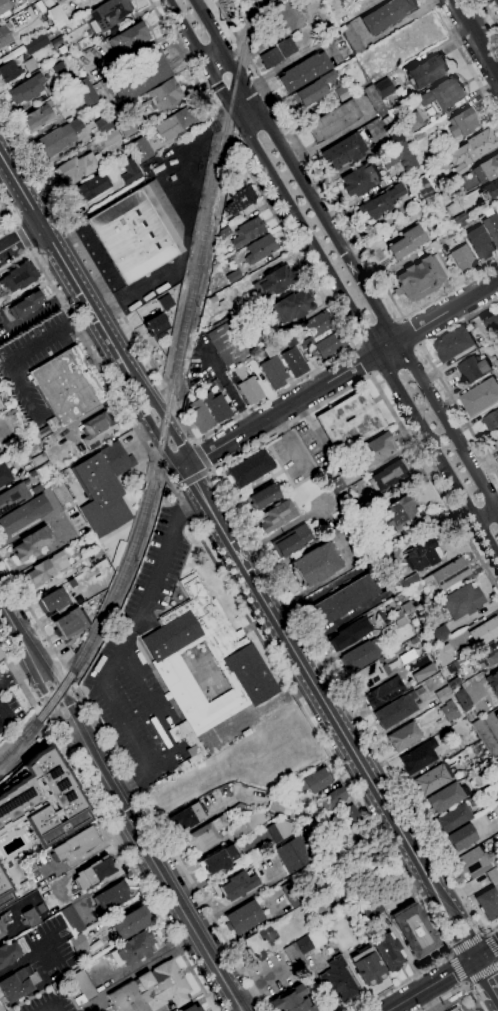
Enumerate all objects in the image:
building: (496, 2)
building: (3, 6)
building: (110, 13)
building: (387, 14)
road: (489, 14)
building: (57, 16)
road: (226, 19)
road: (476, 35)
building: (4, 36)
building: (351, 38)
building: (129, 39)
building: (37, 42)
building: (286, 47)
road: (244, 49)
road: (215, 56)
building: (271, 57)
road: (463, 58)
road: (184, 61)
building: (30, 65)
building: (304, 71)
building: (427, 71)
building: (8, 72)
building: (138, 77)
building: (384, 88)
building: (26, 89)
building: (313, 90)
building: (86, 92)
building: (342, 92)
building: (164, 93)
building: (442, 94)
building: (373, 99)
building: (37, 118)
road: (253, 121)
building: (333, 121)
building: (462, 122)
building: (104, 123)
building: (174, 123)
building: (409, 123)
building: (126, 127)
road: (226, 130)
building: (393, 134)
building: (419, 135)
building: (58, 138)
building: (109, 138)
building: (141, 149)
building: (471, 149)
building: (344, 150)
building: (399, 157)
building: (77, 168)
building: (486, 169)
building: (129, 171)
building: (360, 179)
building: (236, 182)
building: (89, 189)
road: (326, 189)
building: (425, 189)
building: (489, 190)
building: (239, 200)
building: (381, 201)
building: (459, 210)
road: (12, 219)
building: (461, 224)
road: (15, 227)
building: (492, 227)
building: (139, 231)
building: (248, 231)
road: (22, 237)
road: (20, 242)
building: (405, 242)
building: (480, 243)
building: (260, 249)
road: (30, 250)
road: (85, 254)
road: (346, 256)
building: (462, 257)
road: (68, 275)
building: (421, 275)
building: (19, 276)
building: (233, 276)
road: (332, 277)
building: (268, 284)
road: (450, 288)
building: (212, 299)
building: (165, 302)
building: (26, 304)
building: (290, 306)
road: (403, 318)
building: (155, 324)
building: (318, 324)
building: (492, 325)
building: (246, 331)
road: (410, 331)
building: (289, 338)
road: (84, 341)
road: (350, 341)
building: (496, 341)
building: (225, 343)
building: (306, 343)
road: (418, 344)
building: (453, 344)
building: (329, 345)
road: (354, 347)
flagpole: (84, 353)
building: (87, 360)
road: (361, 360)
building: (294, 362)
flagpole: (92, 368)
building: (239, 369)
building: (473, 369)
building: (273, 371)
road: (435, 372)
road: (342, 373)
road: (369, 374)
building: (216, 385)
building: (67, 387)
building: (250, 390)
road: (233, 394)
building: (480, 397)
railway: (171, 398)
building: (5, 399)
building: (217, 406)
building: (8, 415)
building: (200, 415)
building: (349, 421)
building: (491, 422)
road: (167, 426)
building: (97, 430)
building: (42, 432)
road: (157, 434)
road: (194, 441)
parking lot: (315, 442)
building: (496, 442)
building: (0, 448)
building: (375, 449)
road: (201, 456)
parking lot: (295, 458)
building: (38, 459)
building: (249, 468)
road: (210, 469)
building: (4, 475)
building: (389, 475)
road: (193, 477)
road: (434, 482)
building: (337, 485)
road: (175, 487)
building: (103, 488)
building: (61, 495)
building: (12, 496)
building: (263, 496)
road: (188, 504)
building: (396, 513)
road: (487, 515)
building: (23, 516)
building: (275, 516)
building: (291, 541)
building: (31, 544)
building: (422, 554)
building: (94, 556)
building: (316, 564)
building: (46, 568)
building: (448, 575)
building: (409, 581)
building: (71, 583)
building: (418, 585)
building: (344, 599)
building: (53, 600)
road: (289, 601)
building: (462, 601)
road: (147, 606)
building: (408, 607)
building: (397, 615)
road: (35, 617)
flagpole: (239, 620)
building: (401, 622)
building: (72, 623)
building: (355, 629)
road: (17, 630)
building: (485, 631)
building: (440, 633)
flagpole: (250, 638)
building: (490, 653)
building: (1, 655)
building: (360, 655)
building: (0, 658)
road: (17, 670)
building: (424, 673)
building: (247, 675)
building: (368, 676)
road: (21, 680)
building: (454, 682)
building: (493, 682)
building: (385, 692)
building: (443, 694)
road: (63, 695)
building: (462, 699)
road: (48, 703)
building: (399, 708)
building: (449, 710)
road: (332, 712)
building: (496, 716)
building: (1, 726)
building: (404, 736)
building: (485, 737)
road: (331, 755)
building: (418, 757)
road: (174, 758)
building: (162, 780)
building: (431, 780)
building: (313, 781)
building: (445, 798)
building: (331, 800)
building: (497, 803)
building: (280, 805)
building: (233, 810)
building: (34, 815)
building: (187, 816)
building: (352, 817)
building: (454, 818)
building: (247, 824)
building: (281, 830)
building: (206, 834)
building: (461, 837)
road: (168, 844)
building: (74, 845)
road: (89, 850)
building: (294, 854)
building: (218, 859)
building: (476, 862)
road: (130, 863)
building: (95, 872)
road: (160, 874)
building: (492, 877)
building: (234, 886)
road: (458, 893)
building: (112, 896)
road: (235, 901)
building: (386, 903)
building: (488, 903)
building: (367, 909)
road: (14, 915)
building: (29, 917)
building: (243, 917)
road: (476, 918)
building: (72, 919)
building: (130, 922)
building: (2, 923)
building: (414, 931)
road: (484, 933)
building: (260, 942)
building: (78, 943)
road: (467, 944)
road: (491, 944)
building: (132, 949)
building: (387, 951)
building: (8, 952)
building: (298, 952)
road: (450, 953)
road: (28, 956)
traffic signals: (477, 958)
road: (148, 965)
building: (367, 966)
road: (458, 968)
road: (481, 971)
road: (487, 975)
road: (442, 978)
building: (337, 980)
building: (18, 983)
road: (466, 983)
building: (83, 987)
building: (151, 990)
road: (458, 990)
building: (291, 1001)
parking lot: (62, 1006)
road: (1, 1008)
building: (192, 1008)
road: (398, 1008)
road: (44, 1009)
road: (51, 1009)
building: (454, 1009)

